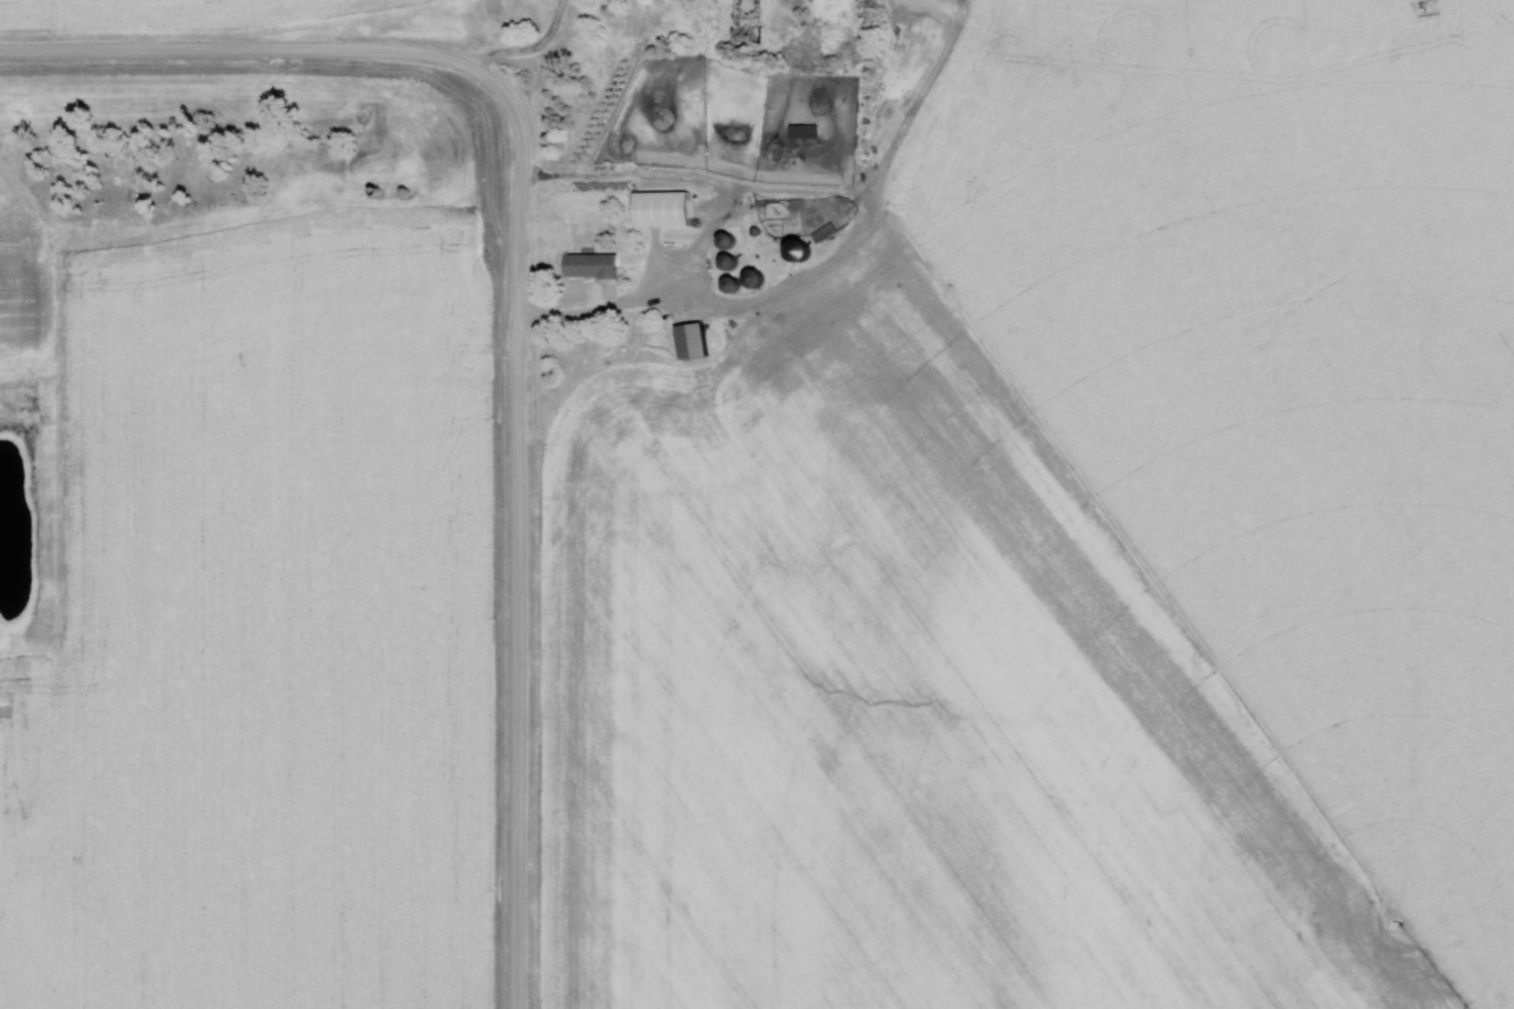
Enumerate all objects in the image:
road: (527, 46)
road: (237, 47)
building: (801, 130)
building: (660, 210)
building: (723, 240)
building: (795, 251)
building: (726, 262)
building: (588, 266)
road: (820, 271)
building: (750, 278)
building: (727, 285)
building: (688, 341)
road: (518, 528)

